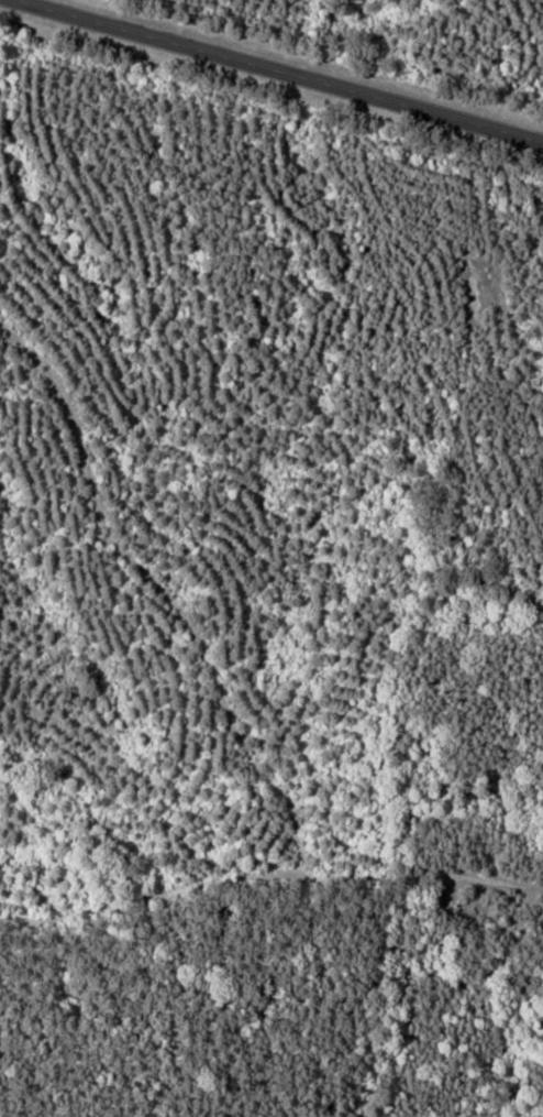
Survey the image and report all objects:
road: (284, 70)

